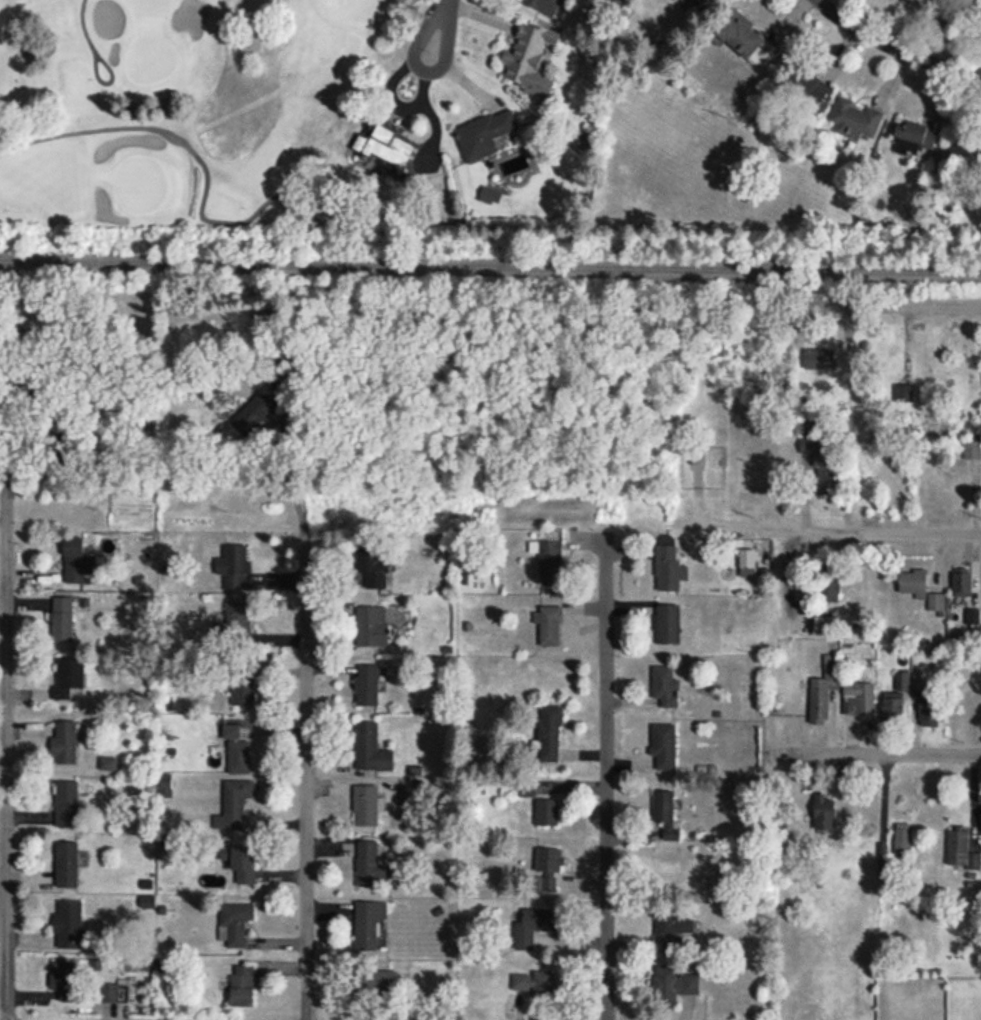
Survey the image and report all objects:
building: (698, 2)
building: (543, 4)
road: (82, 25)
road: (444, 32)
building: (744, 37)
road: (894, 49)
building: (528, 56)
road: (106, 81)
building: (806, 85)
road: (405, 106)
building: (855, 117)
park: (203, 120)
road: (432, 124)
building: (914, 131)
building: (485, 133)
building: (964, 146)
road: (190, 147)
building: (386, 147)
railway: (490, 268)
road: (879, 307)
building: (896, 356)
building: (276, 371)
building: (259, 414)
building: (972, 451)
building: (828, 477)
road: (287, 481)
building: (889, 481)
road: (879, 535)
building: (78, 563)
building: (551, 564)
building: (670, 565)
building: (749, 565)
building: (375, 566)
building: (234, 570)
building: (963, 583)
building: (921, 590)
building: (830, 591)
building: (973, 620)
building: (64, 621)
building: (669, 625)
building: (827, 626)
building: (552, 627)
building: (373, 628)
building: (71, 679)
building: (368, 687)
building: (244, 688)
building: (667, 688)
building: (824, 691)
building: (859, 699)
building: (894, 705)
building: (552, 735)
building: (66, 744)
building: (666, 747)
building: (372, 750)
road: (8, 754)
road: (877, 754)
building: (241, 758)
road: (308, 776)
road: (608, 778)
building: (69, 805)
building: (236, 806)
building: (367, 807)
building: (548, 814)
building: (826, 815)
building: (668, 816)
building: (904, 840)
building: (958, 847)
building: (241, 865)
building: (68, 867)
building: (371, 867)
building: (549, 871)
building: (673, 925)
building: (236, 926)
building: (369, 926)
building: (71, 927)
building: (536, 928)
building: (386, 984)
building: (535, 984)
building: (80, 986)
building: (674, 986)
building: (244, 988)

